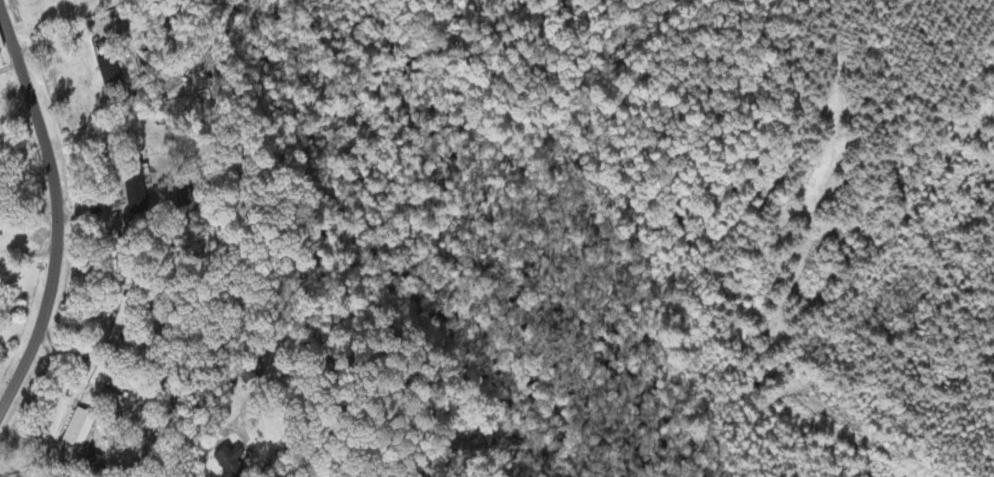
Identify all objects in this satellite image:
building: (111, 67)
building: (139, 186)
road: (57, 206)
building: (83, 425)
building: (235, 461)
road: (2, 475)

